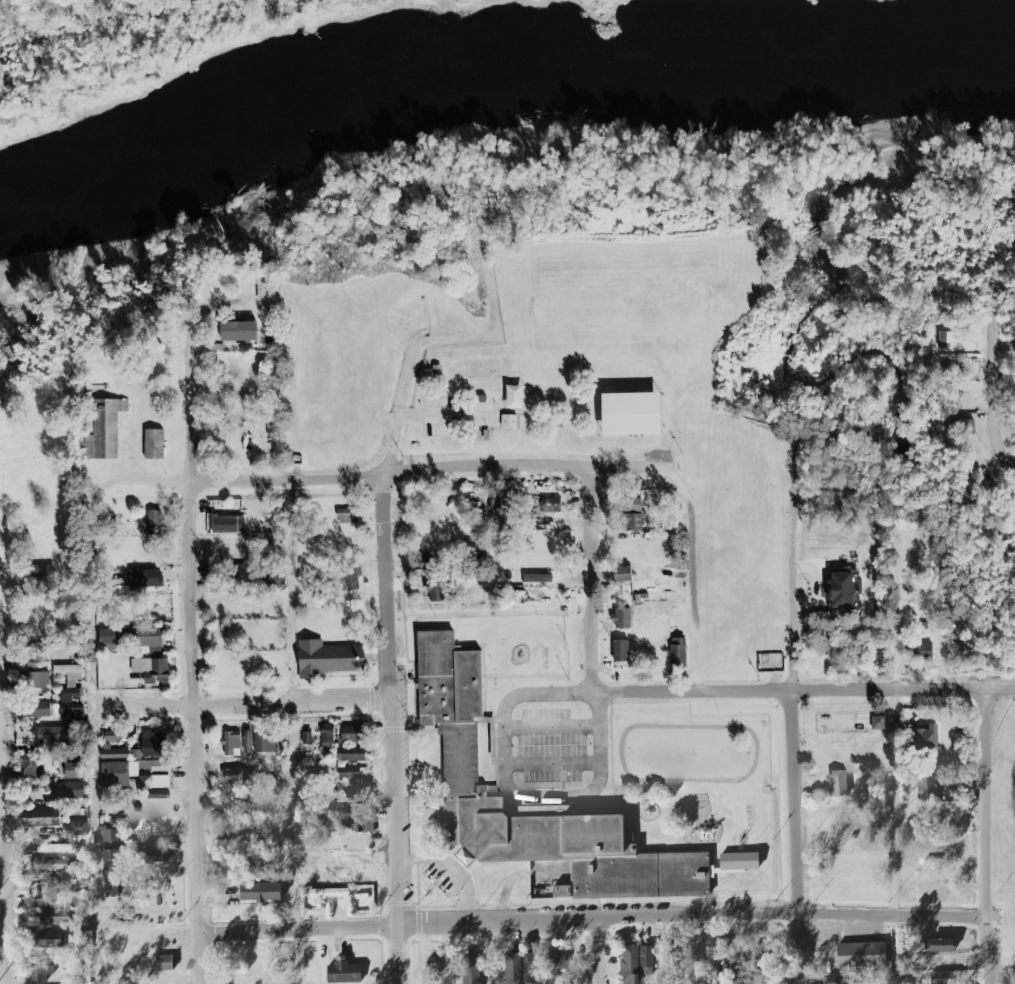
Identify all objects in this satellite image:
river: (494, 85)
building: (265, 292)
building: (238, 333)
building: (946, 338)
road: (437, 339)
road: (991, 358)
park: (629, 393)
building: (512, 396)
building: (626, 412)
building: (507, 420)
building: (102, 428)
building: (152, 443)
road: (1004, 469)
road: (332, 480)
building: (551, 504)
building: (631, 505)
building: (345, 515)
building: (150, 522)
building: (224, 524)
building: (632, 524)
building: (423, 562)
building: (42, 571)
building: (234, 572)
building: (620, 572)
road: (692, 576)
building: (536, 577)
road: (588, 577)
building: (143, 578)
building: (350, 578)
building: (275, 579)
building: (433, 590)
building: (841, 591)
road: (897, 610)
building: (619, 618)
road: (790, 621)
building: (107, 638)
building: (149, 638)
road: (193, 648)
building: (619, 650)
building: (921, 650)
building: (676, 652)
building: (327, 657)
building: (37, 679)
building: (69, 681)
road: (803, 689)
road: (243, 705)
building: (37, 706)
building: (70, 710)
road: (393, 730)
road: (95, 733)
road: (294, 733)
building: (326, 735)
building: (922, 735)
building: (42, 736)
building: (351, 736)
building: (305, 737)
building: (246, 740)
building: (266, 741)
building: (149, 743)
building: (230, 743)
building: (351, 755)
building: (457, 761)
building: (115, 767)
building: (29, 769)
building: (71, 770)
building: (349, 774)
building: (233, 775)
building: (153, 781)
road: (509, 783)
building: (839, 785)
building: (925, 785)
building: (66, 792)
building: (158, 794)
building: (342, 806)
building: (576, 809)
building: (37, 817)
building: (356, 824)
building: (79, 827)
building: (108, 830)
road: (984, 836)
building: (55, 847)
building: (153, 855)
building: (108, 859)
building: (737, 861)
building: (56, 864)
road: (3, 867)
building: (327, 893)
building: (260, 895)
building: (50, 911)
road: (540, 921)
building: (50, 939)
building: (939, 945)
road: (696, 950)
road: (598, 951)
road: (497, 953)
building: (859, 954)
building: (645, 960)
building: (162, 962)
building: (555, 963)
building: (628, 964)
building: (513, 969)
building: (342, 971)
building: (473, 971)
building: (41, 972)
building: (940, 978)

